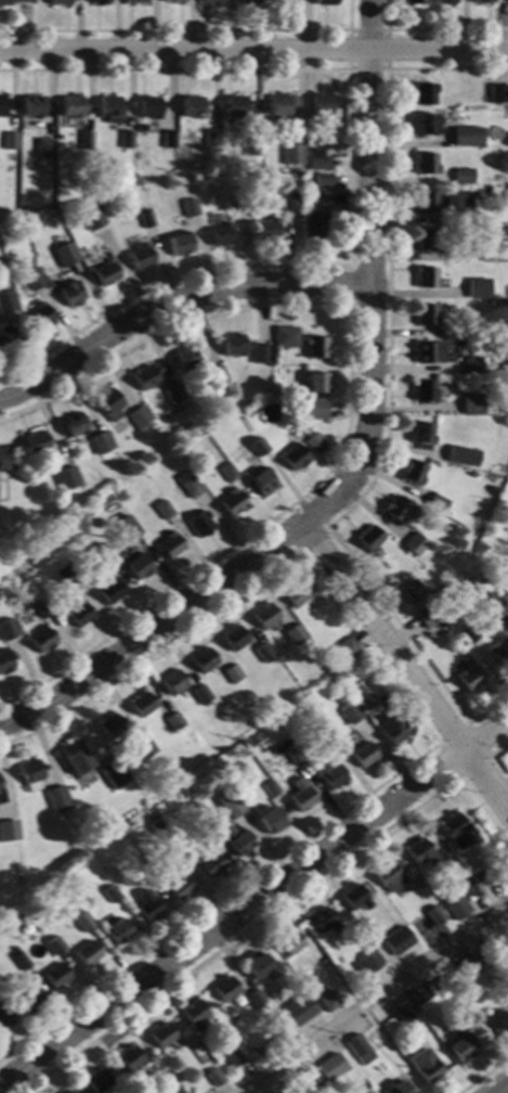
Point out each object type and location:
building: (10, 1)
building: (173, 1)
building: (210, 1)
building: (482, 1)
building: (60, 2)
building: (97, 2)
building: (134, 2)
building: (248, 2)
building: (286, 2)
building: (324, 2)
building: (415, 2)
building: (445, 2)
road: (433, 27)
road: (188, 29)
road: (253, 50)
road: (349, 68)
building: (424, 93)
building: (498, 93)
building: (281, 104)
building: (318, 104)
building: (2, 105)
building: (31, 105)
building: (69, 105)
building: (146, 106)
building: (190, 106)
building: (235, 106)
building: (108, 108)
building: (425, 125)
building: (139, 127)
building: (465, 137)
building: (208, 138)
building: (167, 139)
building: (84, 140)
building: (126, 140)
building: (9, 141)
building: (504, 142)
building: (43, 147)
building: (249, 147)
building: (295, 152)
building: (316, 159)
building: (425, 163)
building: (8, 169)
building: (463, 175)
road: (348, 179)
building: (322, 180)
building: (237, 200)
building: (455, 201)
building: (288, 202)
building: (426, 203)
building: (190, 207)
building: (88, 214)
building: (145, 219)
building: (313, 226)
building: (265, 229)
building: (503, 231)
building: (220, 234)
building: (427, 240)
building: (179, 244)
building: (470, 250)
building: (65, 255)
building: (140, 257)
building: (106, 271)
road: (368, 273)
building: (426, 278)
building: (32, 279)
road: (349, 283)
building: (477, 287)
building: (70, 293)
building: (6, 298)
road: (172, 303)
building: (39, 316)
building: (426, 316)
building: (505, 325)
building: (4, 333)
building: (284, 336)
building: (232, 345)
building: (315, 346)
building: (429, 352)
building: (259, 353)
building: (184, 358)
building: (471, 365)
building: (217, 374)
building: (145, 376)
building: (315, 383)
building: (274, 390)
building: (424, 391)
building: (173, 393)
road: (387, 393)
road: (348, 401)
building: (107, 403)
building: (471, 403)
building: (315, 409)
building: (249, 410)
building: (139, 416)
building: (71, 424)
building: (422, 435)
building: (35, 442)
building: (100, 442)
building: (314, 443)
building: (257, 447)
building: (463, 455)
building: (295, 458)
building: (2, 460)
building: (502, 470)
building: (226, 472)
building: (413, 472)
building: (65, 478)
building: (262, 483)
building: (187, 485)
building: (492, 490)
building: (231, 503)
building: (437, 504)
building: (399, 509)
building: (162, 510)
building: (198, 524)
road: (325, 525)
building: (131, 535)
building: (367, 539)
building: (48, 543)
building: (415, 544)
building: (168, 545)
building: (96, 555)
building: (138, 566)
building: (65, 575)
building: (507, 580)
building: (109, 590)
building: (296, 591)
building: (416, 591)
building: (490, 604)
building: (40, 608)
building: (78, 614)
building: (263, 615)
building: (428, 617)
road: (195, 620)
building: (292, 625)
road: (152, 627)
building: (6, 630)
road: (363, 634)
building: (467, 634)
building: (232, 638)
building: (301, 638)
building: (41, 640)
building: (346, 647)
building: (499, 651)
building: (262, 653)
building: (201, 659)
building: (5, 660)
road: (405, 669)
building: (231, 673)
building: (469, 678)
building: (171, 681)
building: (199, 695)
building: (141, 704)
building: (366, 705)
building: (354, 716)
building: (173, 721)
road: (467, 722)
building: (112, 725)
building: (390, 729)
road: (484, 733)
building: (323, 738)
building: (142, 749)
building: (285, 751)
building: (362, 755)
building: (74, 756)
building: (221, 758)
road: (492, 758)
building: (112, 773)
building: (29, 774)
building: (333, 776)
building: (269, 788)
building: (177, 793)
road: (502, 793)
building: (300, 795)
building: (1, 796)
building: (57, 798)
building: (230, 801)
building: (67, 813)
building: (270, 821)
building: (155, 824)
building: (453, 830)
building: (9, 831)
building: (208, 836)
building: (240, 844)
building: (170, 850)
building: (418, 852)
building: (209, 865)
building: (140, 871)
building: (388, 876)
building: (478, 879)
building: (179, 887)
building: (109, 893)
building: (353, 897)
road: (217, 900)
building: (146, 905)
building: (456, 908)
building: (433, 916)
road: (231, 917)
building: (321, 921)
building: (82, 922)
building: (117, 931)
road: (237, 935)
building: (395, 940)
building: (288, 943)
building: (53, 946)
building: (13, 949)
building: (483, 952)
building: (87, 953)
building: (19, 961)
building: (368, 962)
building: (257, 965)
building: (355, 966)
building: (467, 966)
building: (342, 968)
building: (445, 975)
building: (55, 976)
building: (12, 981)
building: (223, 989)
building: (416, 992)
building: (506, 993)
road: (374, 996)
building: (25, 998)
building: (253, 999)
building: (327, 1001)
building: (302, 1006)
building: (229, 1011)
building: (402, 1011)
building: (193, 1015)
building: (4, 1016)
building: (494, 1023)
building: (160, 1036)
building: (459, 1045)
building: (359, 1050)
building: (128, 1057)
building: (232, 1059)
building: (424, 1067)
building: (325, 1069)
building: (370, 1073)
road: (483, 1075)
building: (213, 1078)
building: (311, 1078)
building: (95, 1081)
building: (395, 1088)
road: (502, 1089)
building: (178, 1091)
building: (65, 1092)

